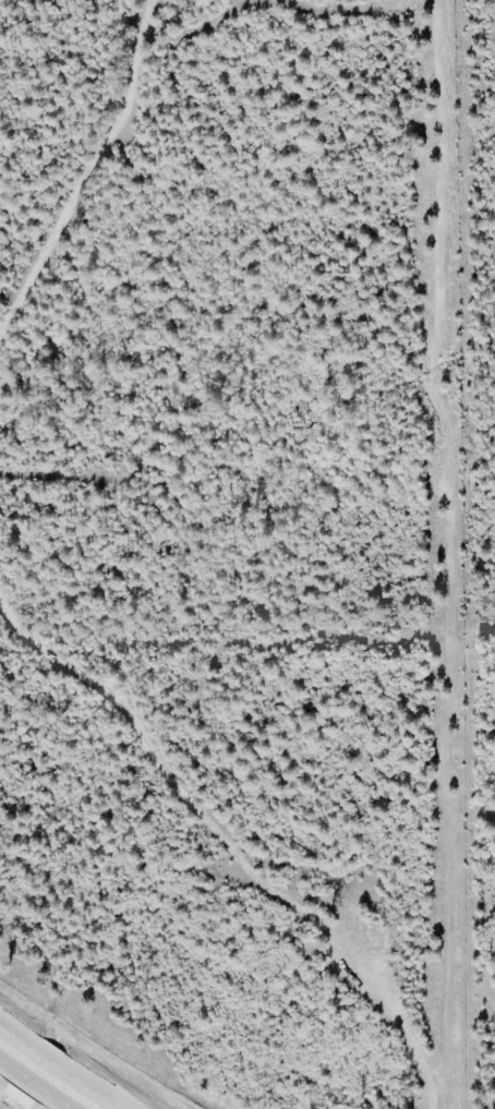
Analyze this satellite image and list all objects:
road: (49, 1076)

